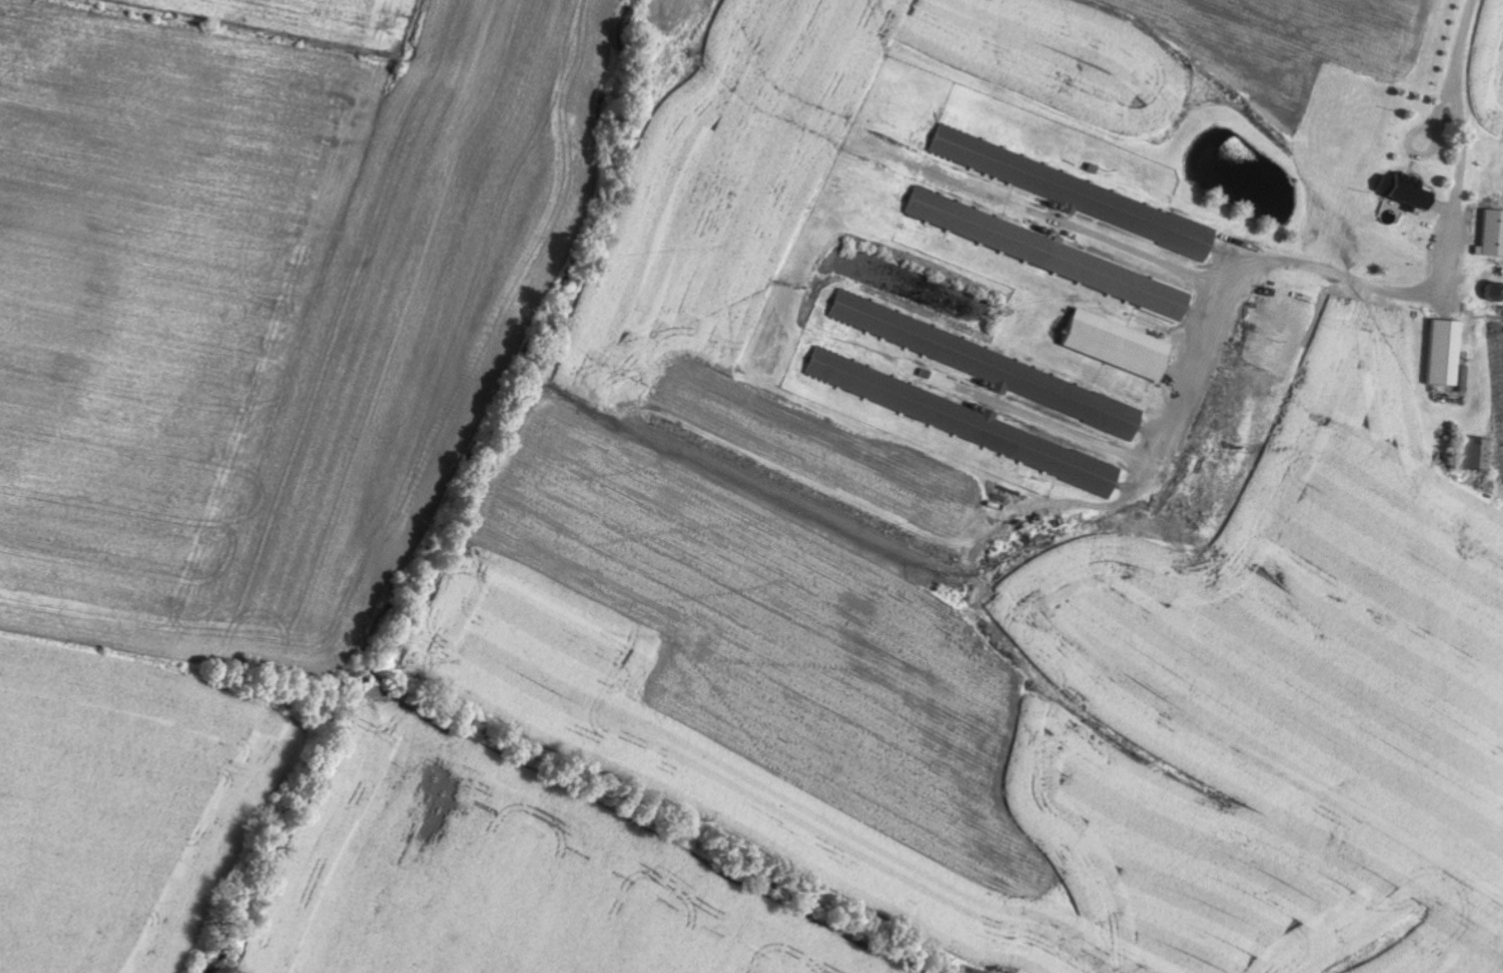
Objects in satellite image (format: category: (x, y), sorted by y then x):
building: (1408, 191)
building: (1086, 197)
building: (1493, 235)
building: (1045, 252)
building: (1121, 346)
building: (1448, 354)
building: (997, 368)
building: (955, 418)
building: (1479, 455)

